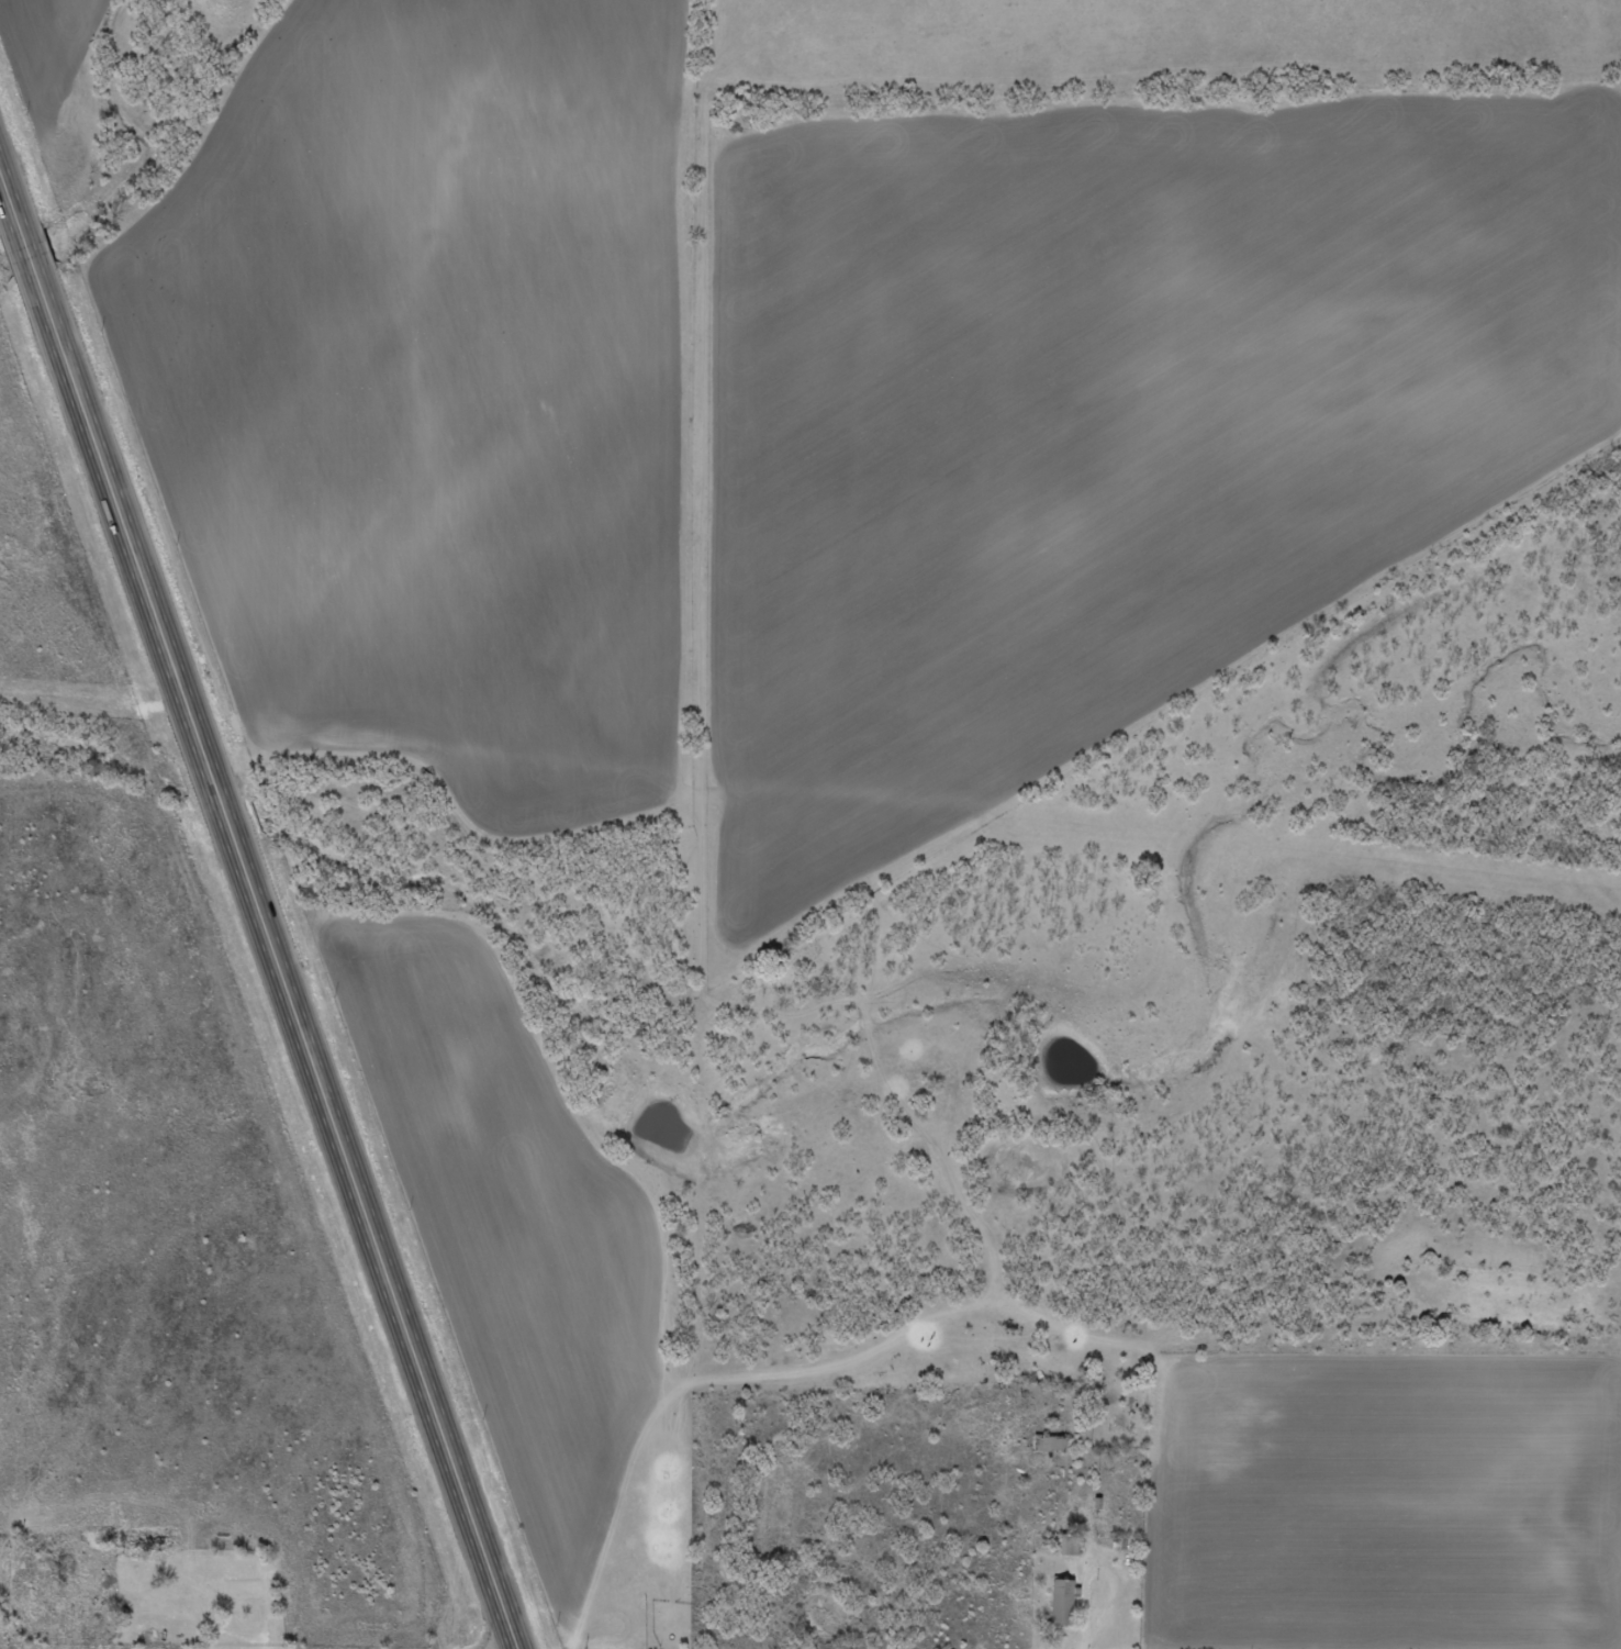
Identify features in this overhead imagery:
road: (262, 910)
building: (1116, 1419)
building: (1047, 1442)
building: (1067, 1546)
building: (264, 1579)
building: (128, 1584)
building: (101, 1587)
building: (222, 1593)
building: (1059, 1602)

